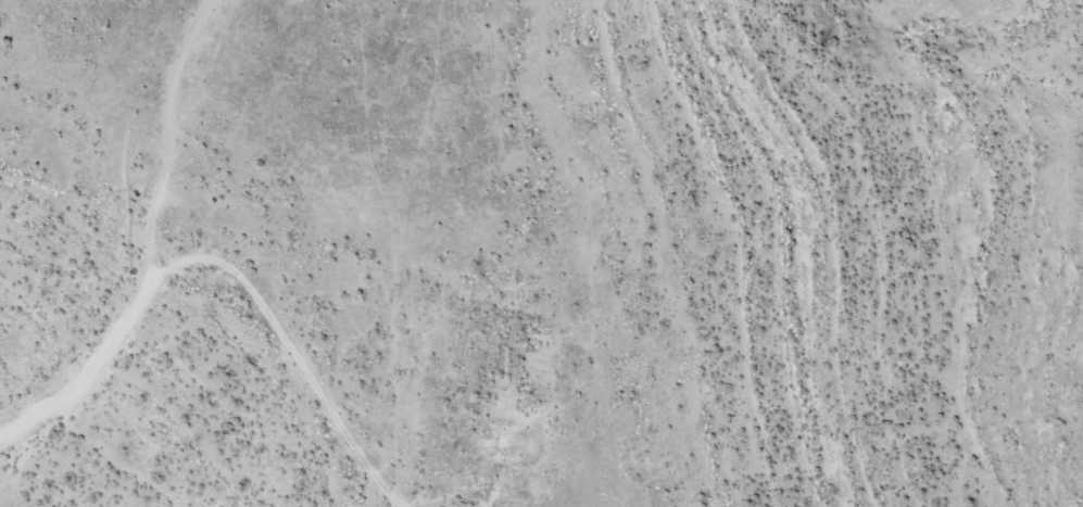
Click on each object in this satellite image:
road: (160, 255)

